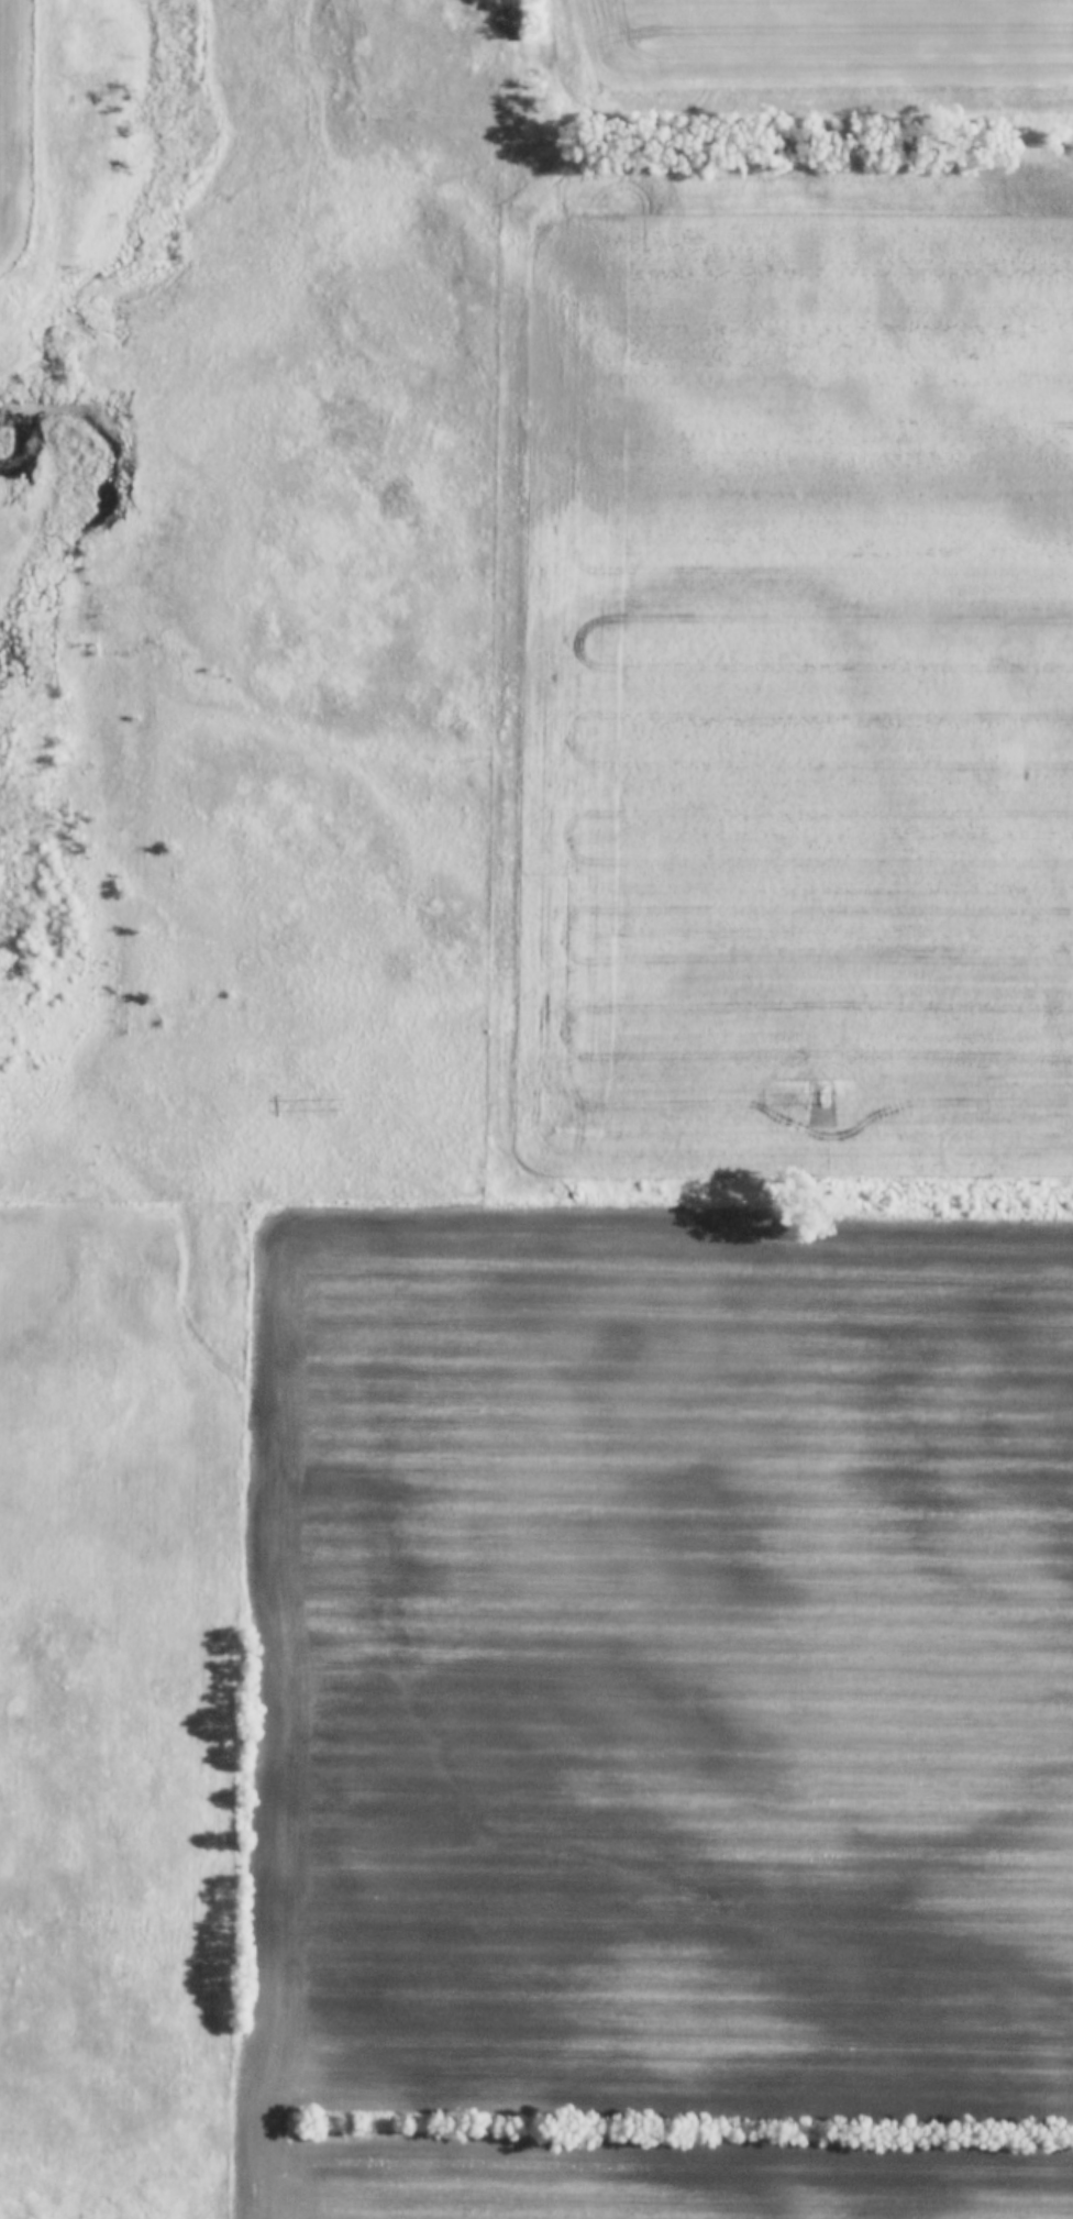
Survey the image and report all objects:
power tower: (820, 1099)
power tower: (338, 1104)

